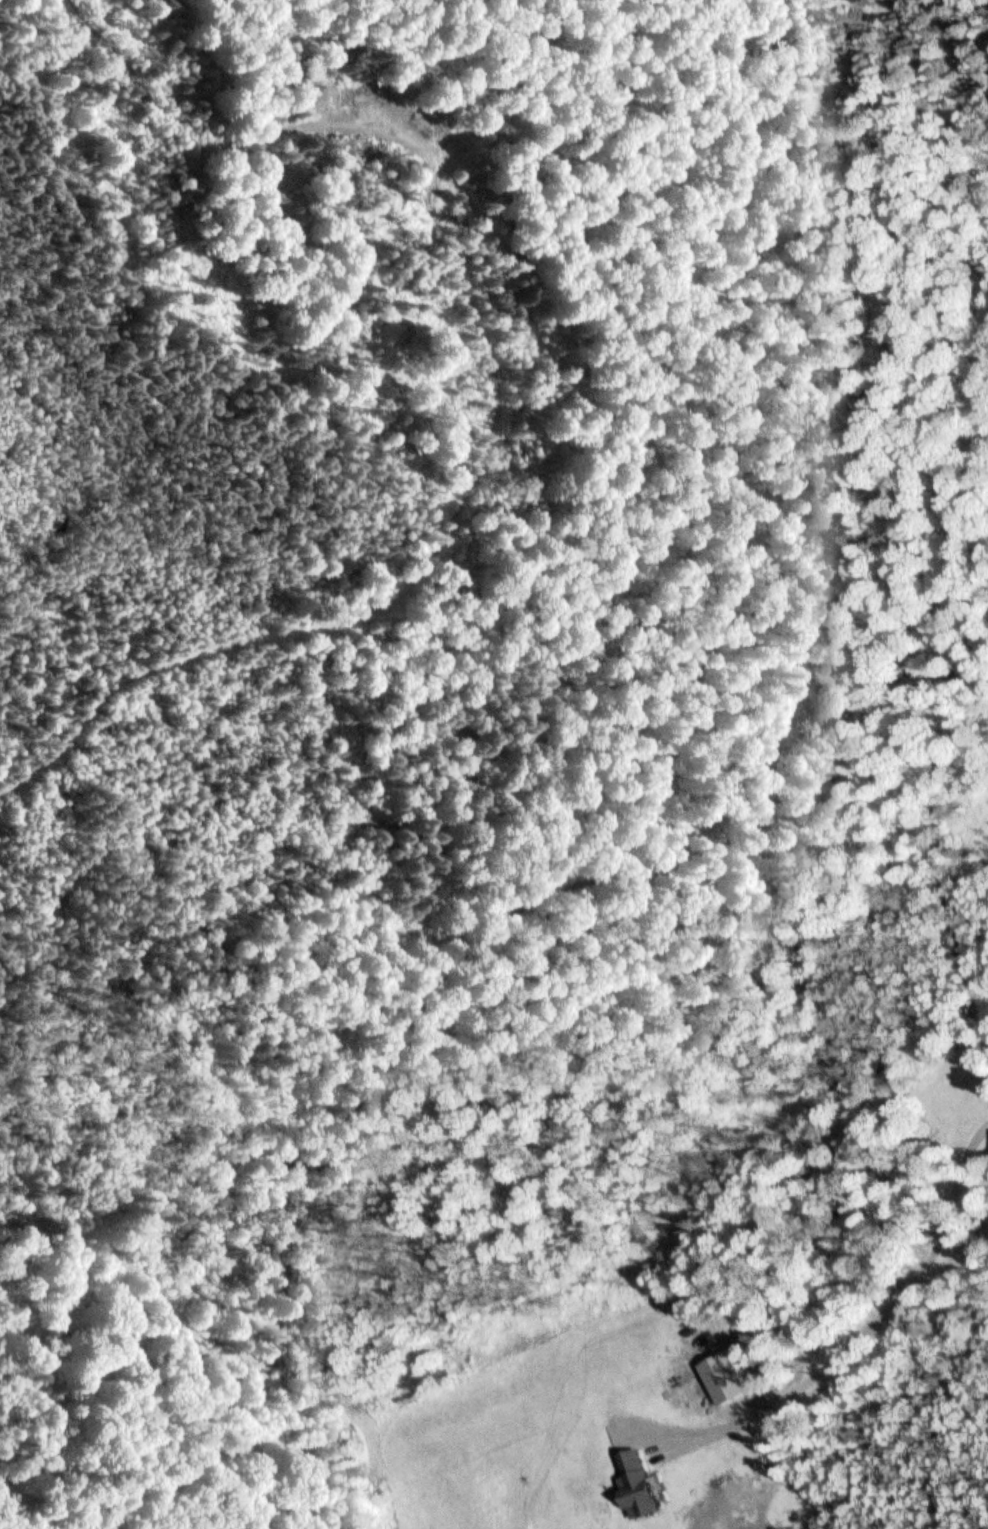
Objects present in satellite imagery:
building: (634, 1483)

